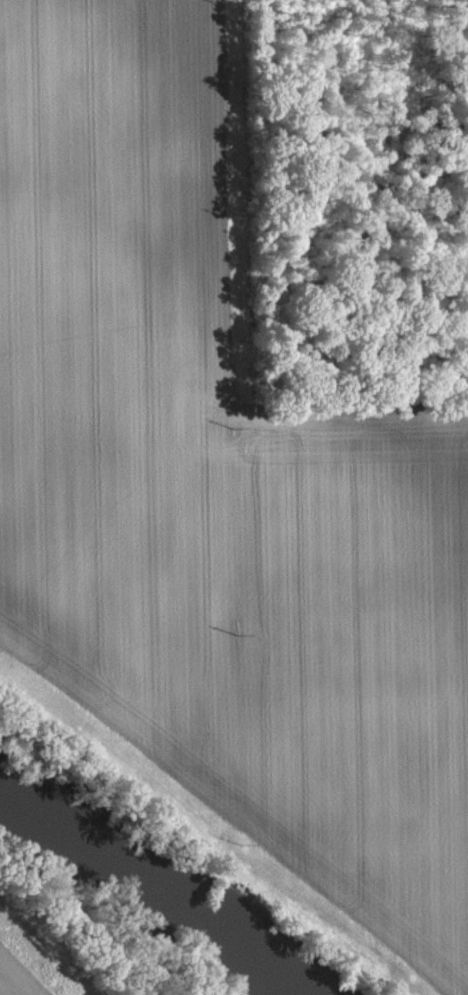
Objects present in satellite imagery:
river: (144, 889)

